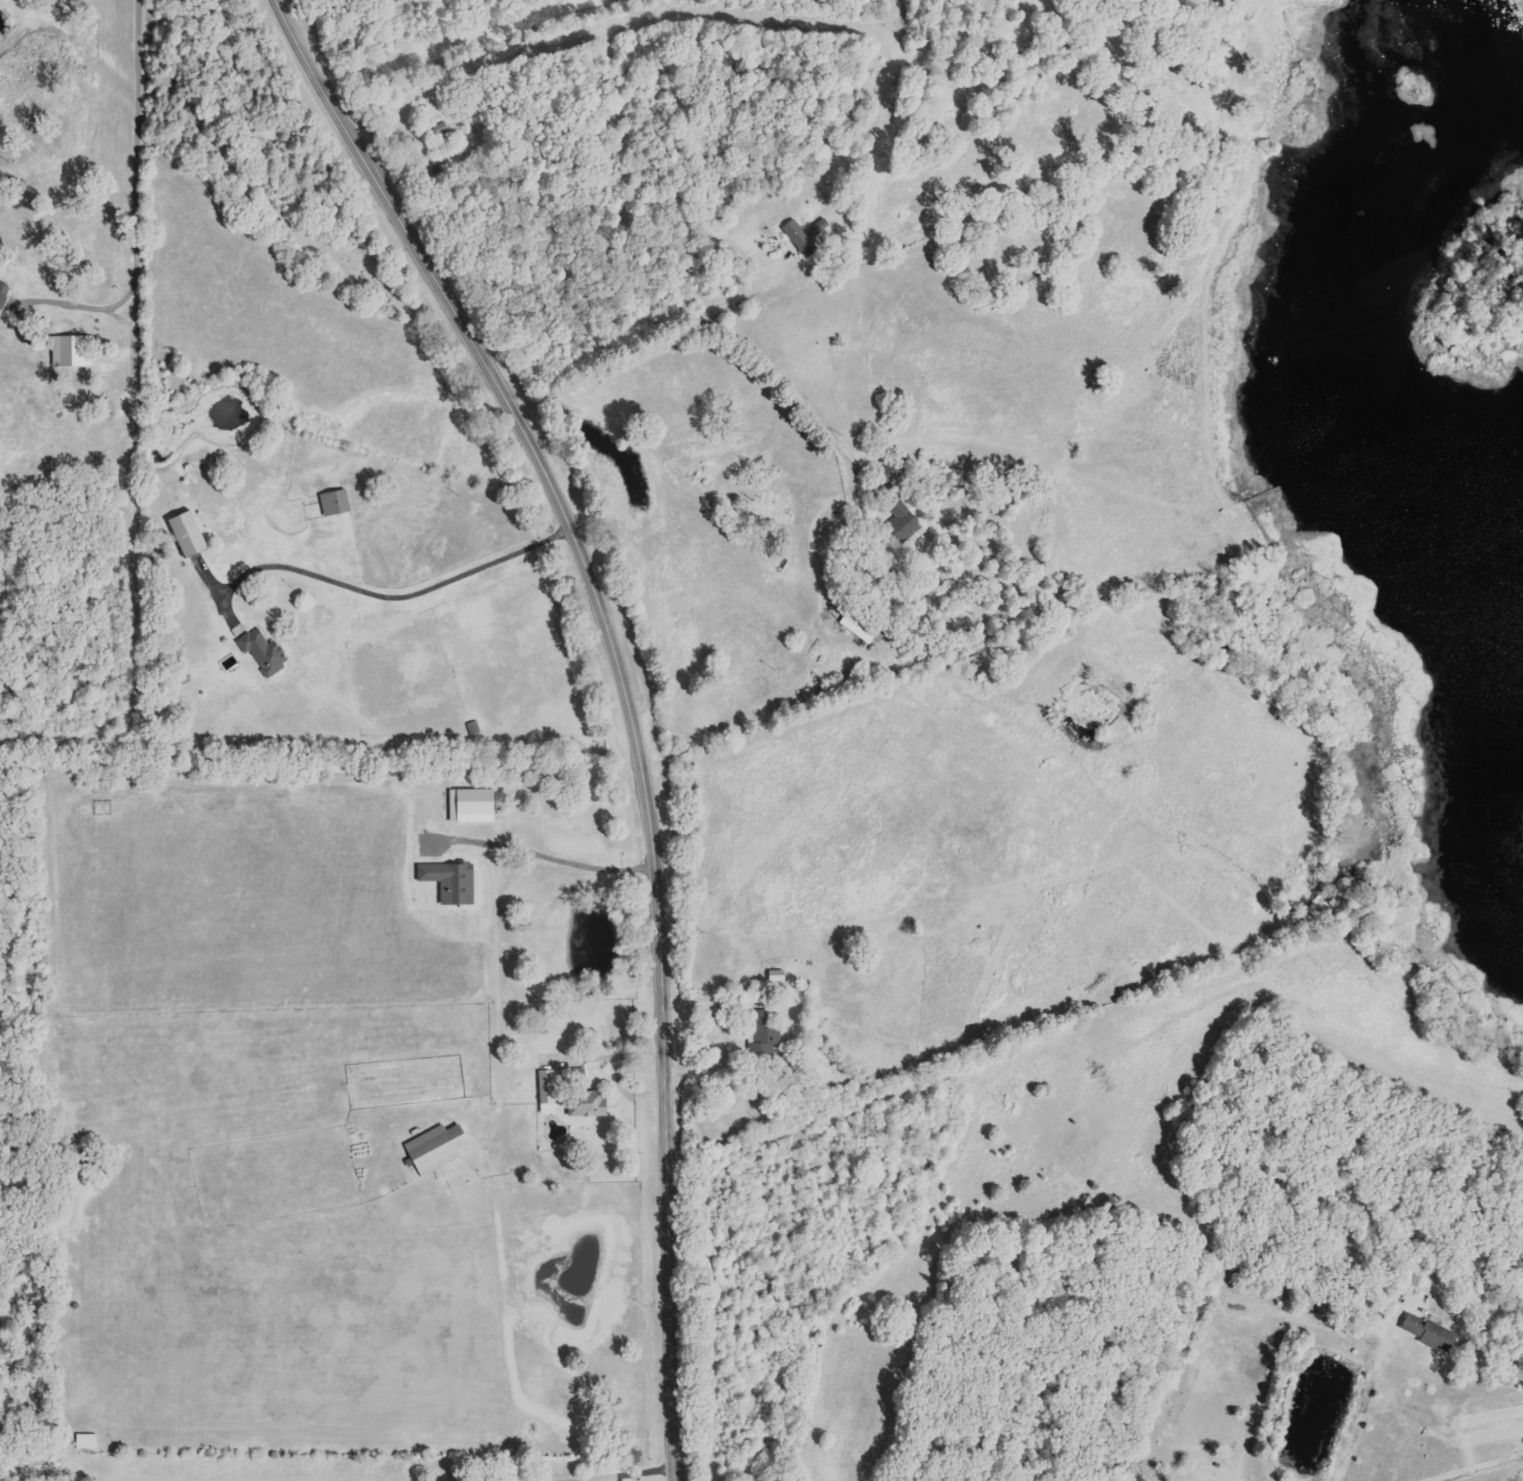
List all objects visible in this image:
road: (135, 178)
building: (804, 236)
building: (3, 292)
building: (71, 351)
building: (334, 503)
building: (902, 521)
building: (187, 535)
road: (393, 596)
building: (263, 652)
road: (636, 698)
building: (471, 806)
road: (560, 860)
building: (450, 883)
building: (766, 1028)
road: (725, 1040)
road: (617, 1054)
building: (576, 1073)
building: (546, 1091)
road: (629, 1092)
building: (587, 1103)
building: (435, 1148)
building: (1414, 1278)
building: (1428, 1332)
building: (86, 1442)
road: (1465, 1462)
road: (645, 1477)

